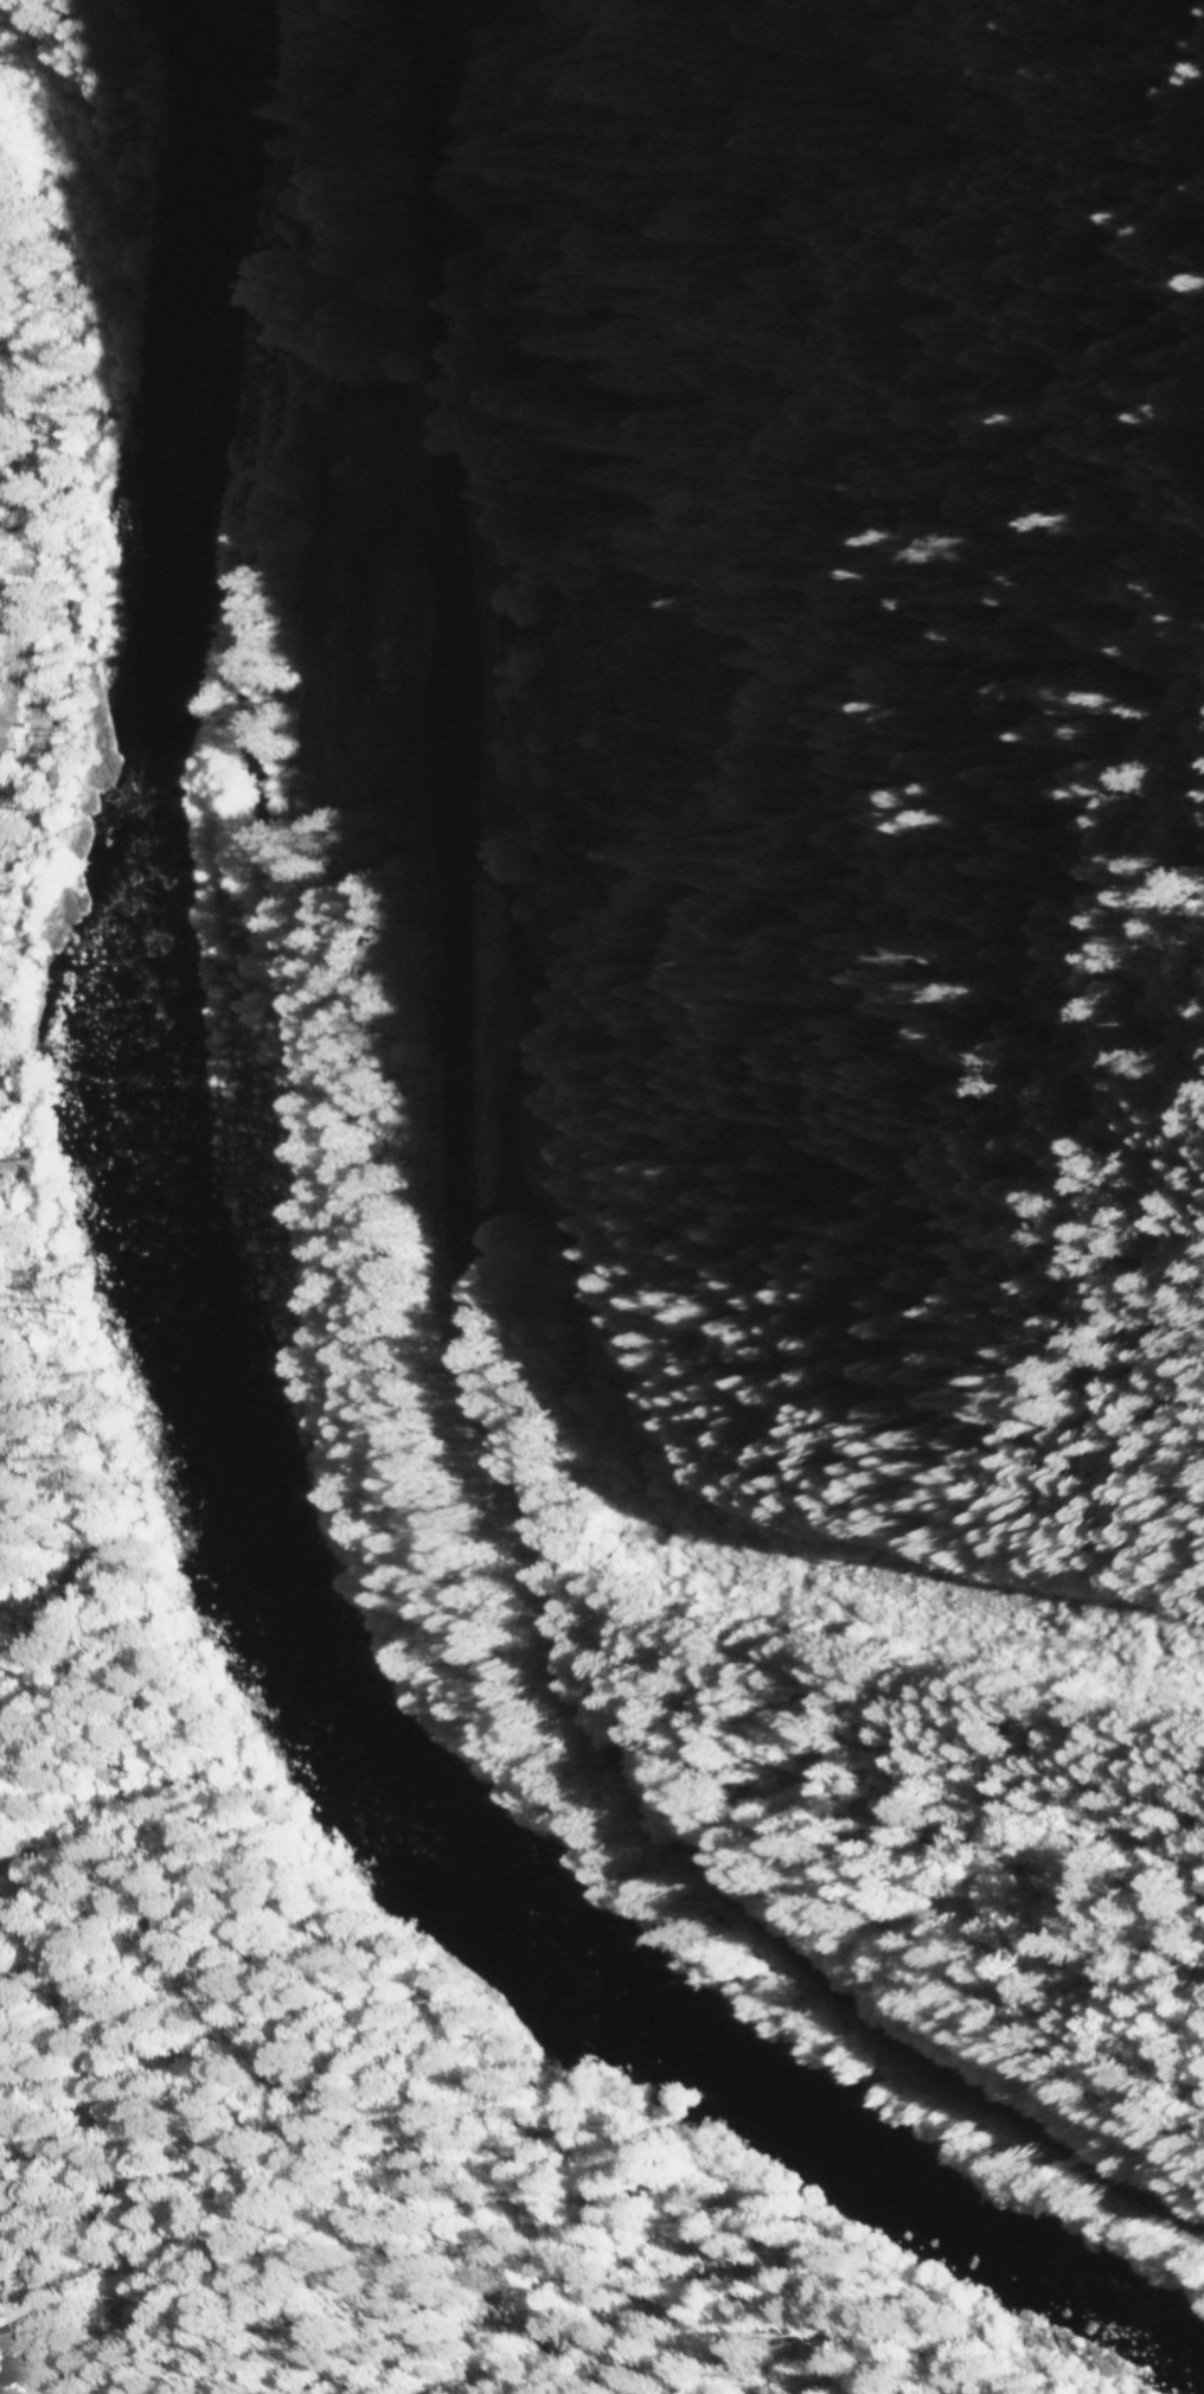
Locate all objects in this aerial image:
road: (340, 407)
road: (51, 506)
park: (333, 617)
road: (353, 658)
road: (308, 715)
road: (453, 1269)
river: (216, 1398)
road: (412, 1961)

